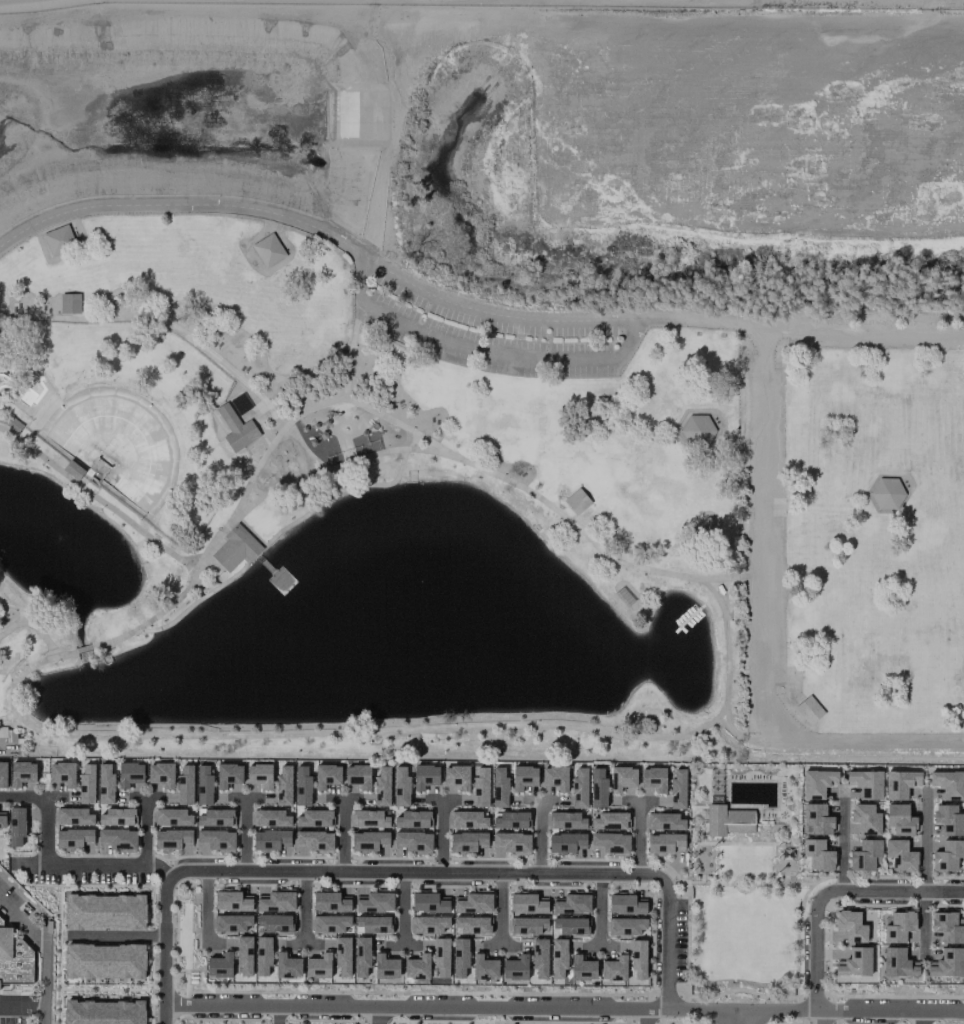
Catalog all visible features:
building: (58, 240)
building: (267, 250)
road: (365, 256)
building: (69, 303)
road: (865, 320)
road: (751, 321)
parking lot: (496, 337)
road: (203, 346)
road: (350, 351)
road: (477, 353)
park: (483, 382)
road: (364, 406)
building: (236, 427)
building: (697, 430)
road: (409, 439)
road: (346, 464)
building: (886, 493)
road: (100, 500)
building: (576, 501)
road: (273, 537)
building: (235, 548)
road: (194, 556)
road: (13, 602)
road: (32, 625)
road: (769, 628)
building: (808, 710)
road: (30, 725)
road: (460, 727)
building: (7, 735)
building: (21, 773)
building: (61, 773)
building: (3, 774)
building: (129, 774)
building: (161, 774)
building: (228, 775)
building: (259, 775)
building: (326, 775)
building: (358, 776)
building: (425, 776)
building: (456, 777)
building: (523, 777)
building: (554, 778)
building: (622, 778)
building: (653, 779)
building: (86, 783)
building: (817, 783)
building: (865, 783)
building: (105, 784)
building: (900, 784)
building: (948, 784)
building: (185, 785)
building: (203, 785)
building: (283, 785)
building: (302, 786)
building: (381, 786)
building: (715, 786)
building: (400, 787)
building: (480, 787)
building: (499, 787)
building: (578, 788)
building: (597, 788)
building: (677, 789)
building: (73, 816)
building: (116, 817)
building: (172, 817)
building: (215, 817)
building: (271, 818)
building: (313, 818)
building: (370, 819)
building: (412, 819)
building: (816, 819)
building: (864, 819)
building: (899, 819)
building: (2, 820)
building: (468, 820)
building: (509, 820)
building: (566, 820)
building: (726, 820)
building: (947, 820)
building: (609, 821)
building: (663, 821)
building: (16, 826)
road: (143, 831)
road: (244, 834)
road: (342, 834)
road: (441, 836)
road: (539, 836)
road: (637, 837)
road: (737, 837)
building: (74, 838)
road: (841, 838)
building: (172, 839)
road: (924, 839)
building: (117, 840)
building: (215, 840)
building: (271, 840)
building: (369, 841)
building: (313, 842)
building: (413, 842)
building: (468, 842)
road: (697, 842)
building: (567, 843)
building: (610, 843)
building: (664, 843)
road: (763, 843)
building: (510, 844)
building: (816, 855)
building: (865, 855)
building: (899, 855)
building: (947, 855)
road: (52, 864)
road: (405, 872)
road: (744, 873)
road: (699, 882)
road: (797, 883)
road: (834, 891)
building: (276, 900)
building: (232, 901)
building: (330, 901)
building: (374, 901)
building: (429, 902)
building: (473, 902)
building: (528, 903)
building: (571, 903)
building: (626, 904)
road: (303, 907)
road: (676, 907)
road: (401, 908)
road: (499, 908)
road: (599, 909)
building: (104, 911)
road: (205, 911)
building: (232, 922)
building: (273, 923)
building: (330, 924)
building: (373, 924)
building: (428, 924)
road: (923, 924)
building: (471, 925)
building: (527, 925)
building: (569, 925)
building: (850, 926)
building: (897, 926)
building: (946, 926)
building: (627, 927)
road: (115, 936)
road: (42, 952)
building: (244, 955)
building: (262, 955)
building: (342, 956)
building: (361, 956)
building: (635, 956)
building: (441, 957)
building: (539, 957)
building: (558, 957)
building: (460, 958)
building: (14, 960)
building: (104, 961)
building: (855, 962)
building: (896, 963)
building: (946, 963)
building: (219, 965)
building: (287, 966)
building: (318, 966)
building: (385, 967)
building: (483, 967)
building: (515, 968)
building: (582, 968)
building: (417, 969)
building: (613, 969)
building: (853, 978)
road: (744, 989)
road: (20, 997)
road: (676, 1002)
road: (805, 1003)
road: (413, 1008)
road: (743, 1009)
building: (103, 1011)
road: (893, 1011)
road: (276, 1015)
road: (377, 1016)
road: (644, 1016)
road: (727, 1016)
road: (749, 1017)
road: (821, 1017)
road: (920, 1017)

